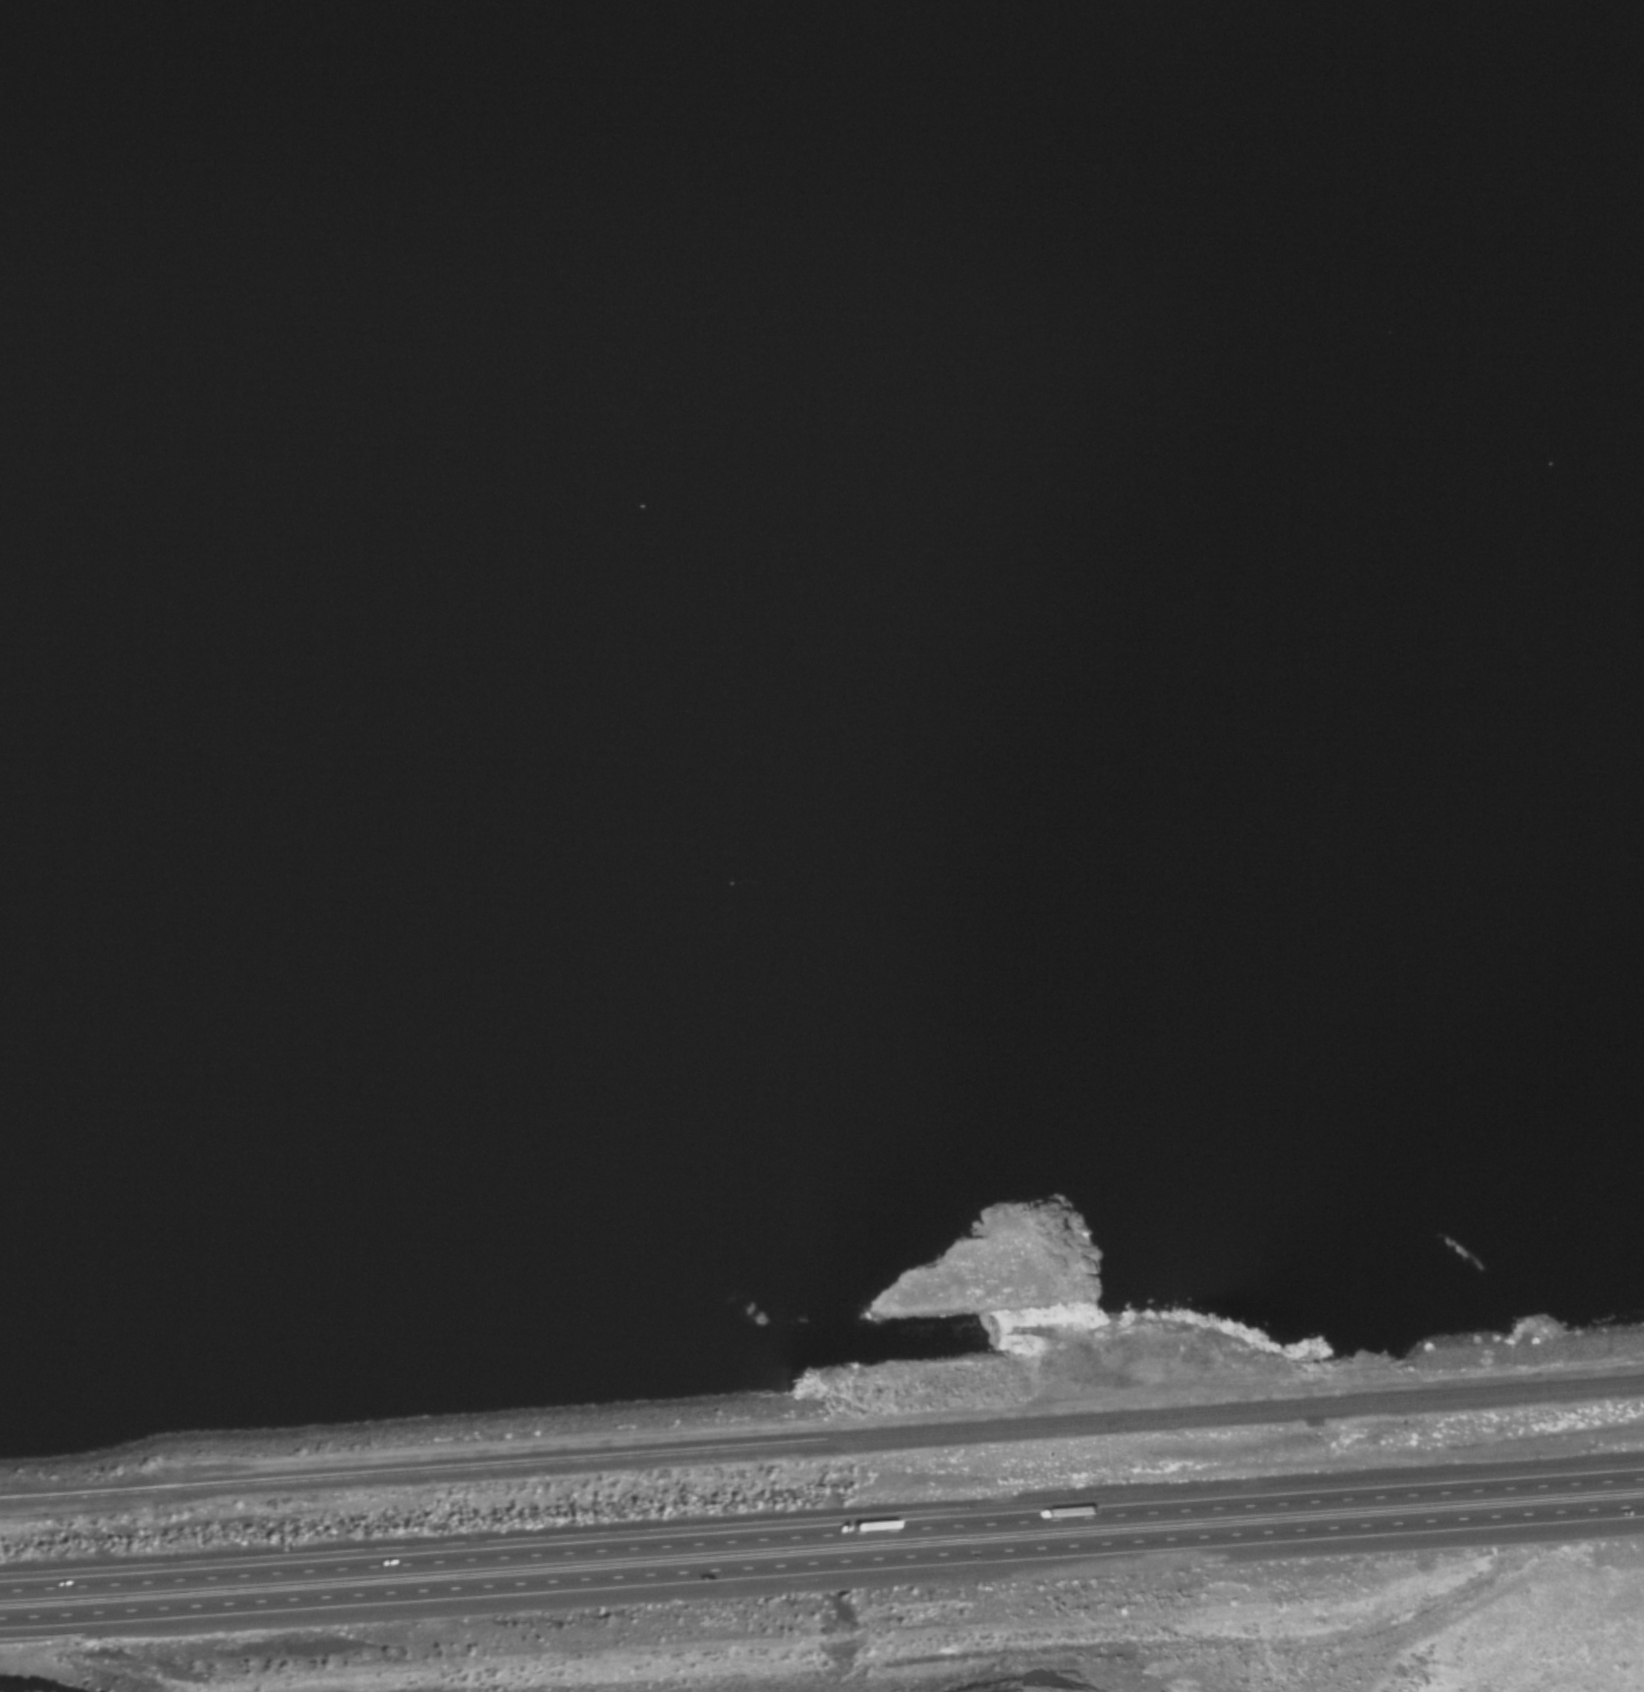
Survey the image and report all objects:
railway: (821, 1445)
road: (821, 1531)
road: (821, 1566)

